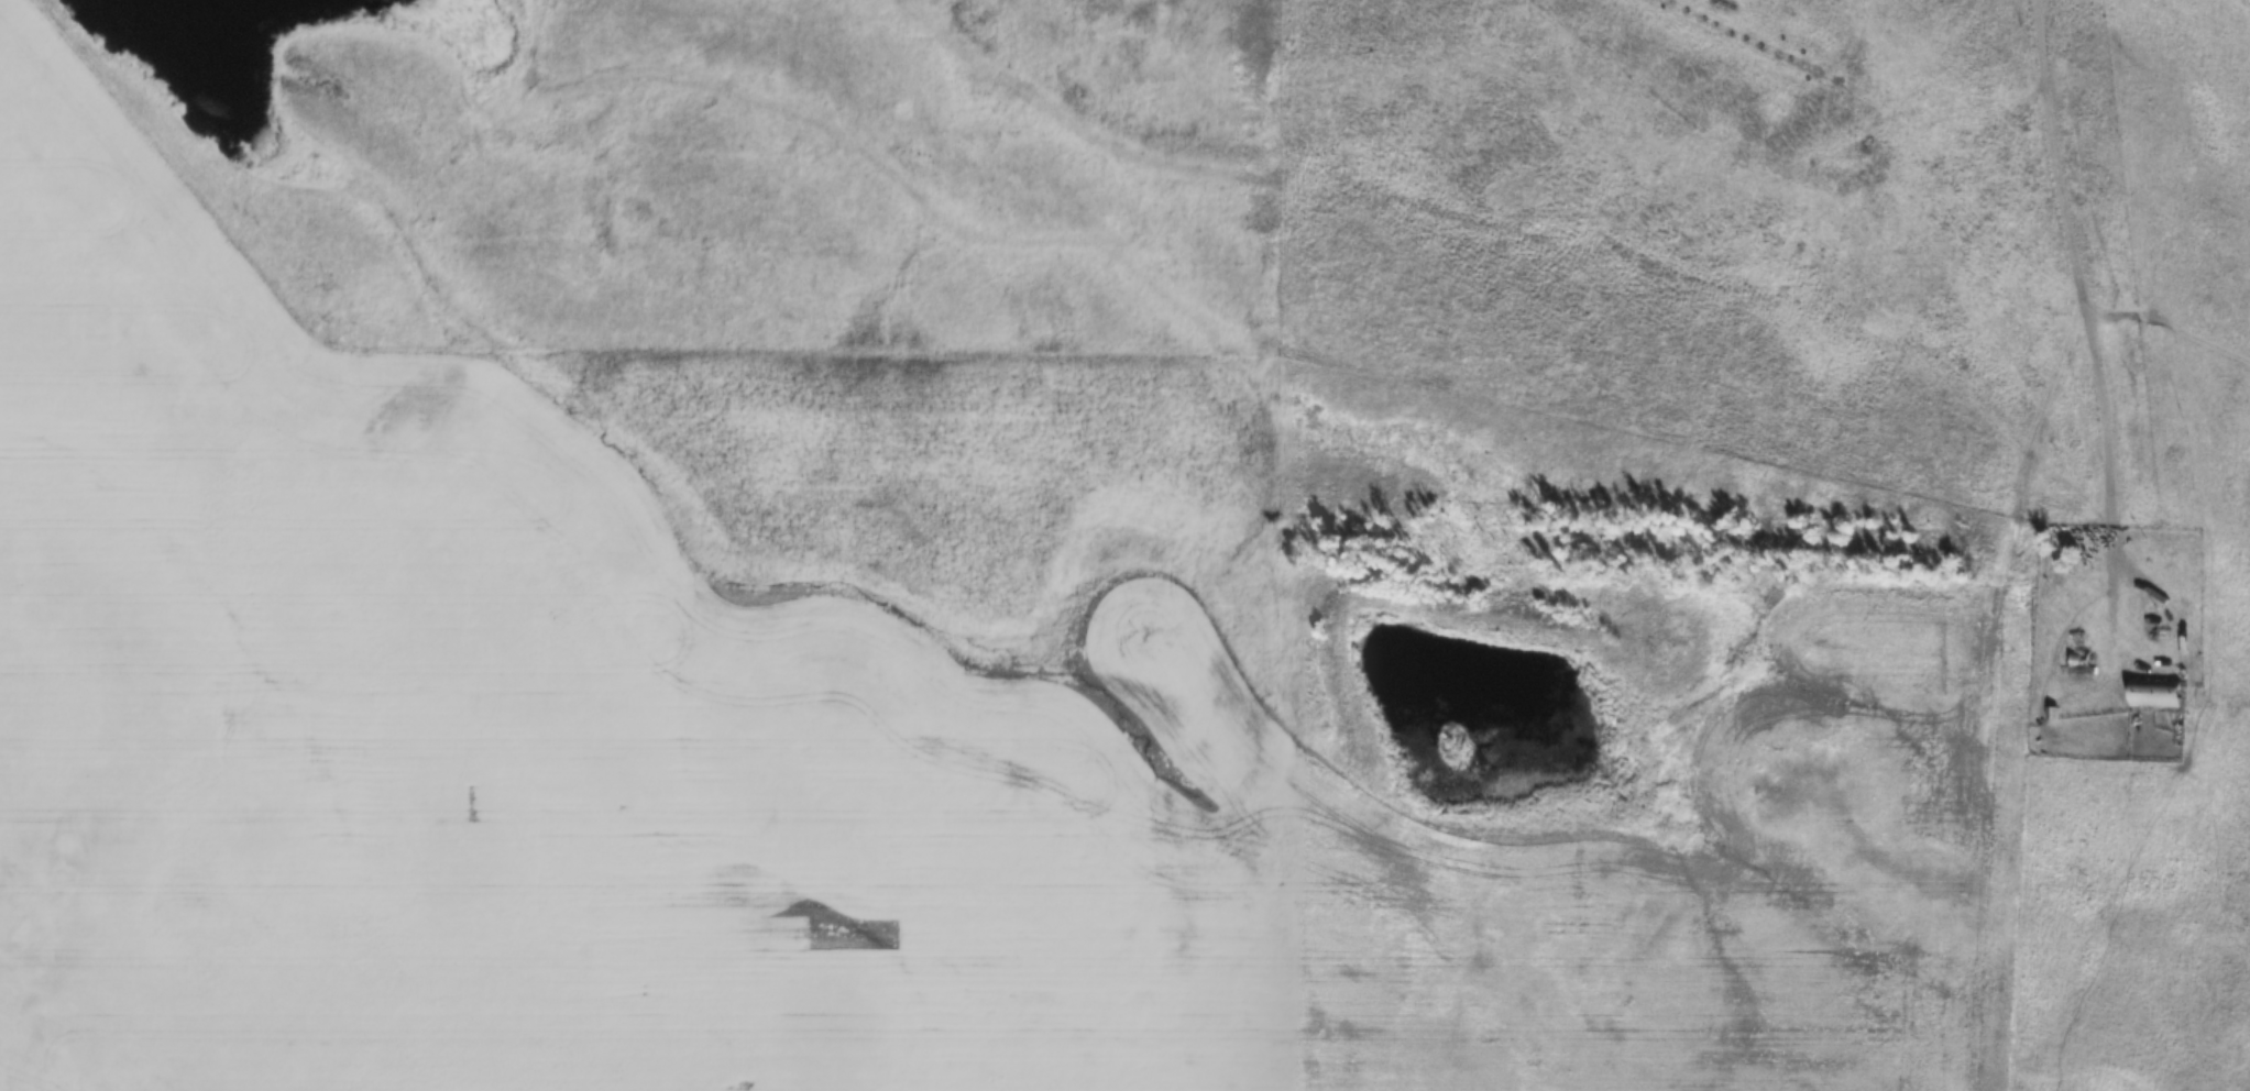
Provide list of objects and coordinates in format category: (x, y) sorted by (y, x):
building: (2077, 664)
building: (2154, 697)

